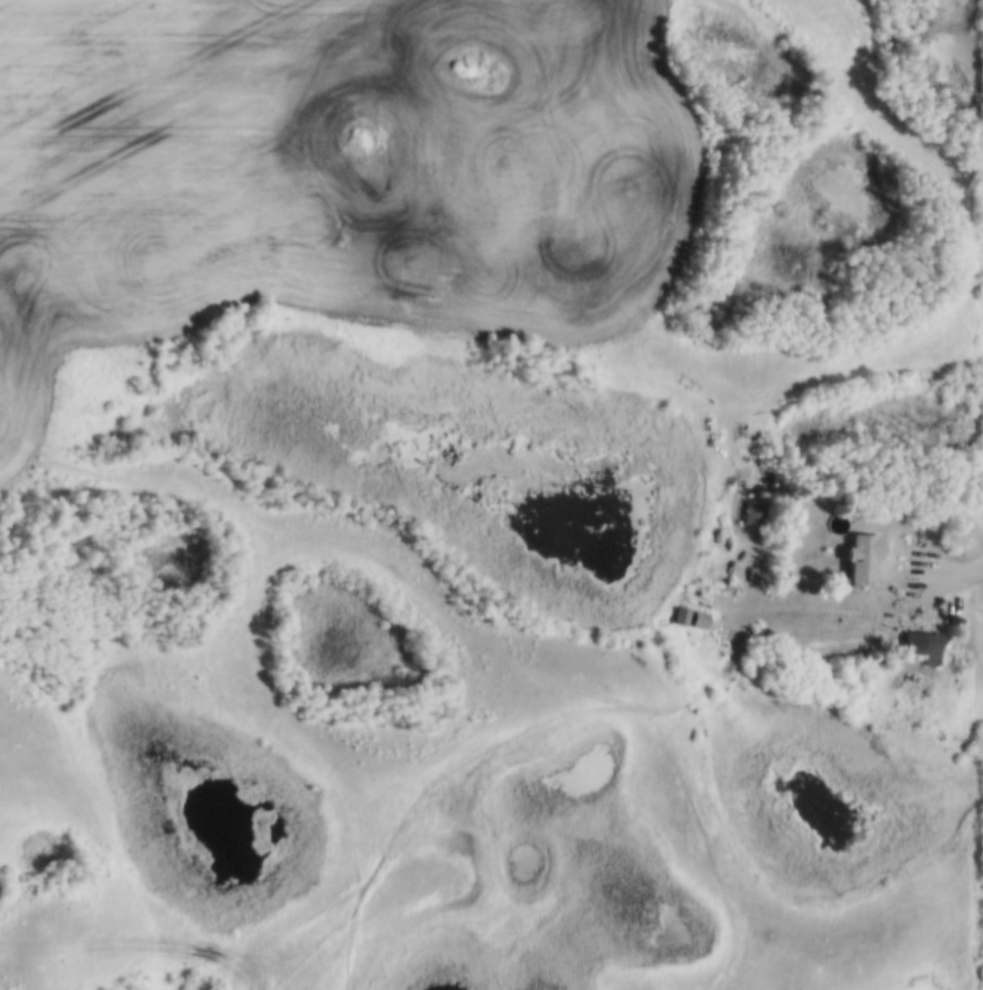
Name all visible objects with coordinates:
building: (754, 510)
building: (860, 553)
building: (682, 613)
building: (700, 617)
building: (918, 642)

